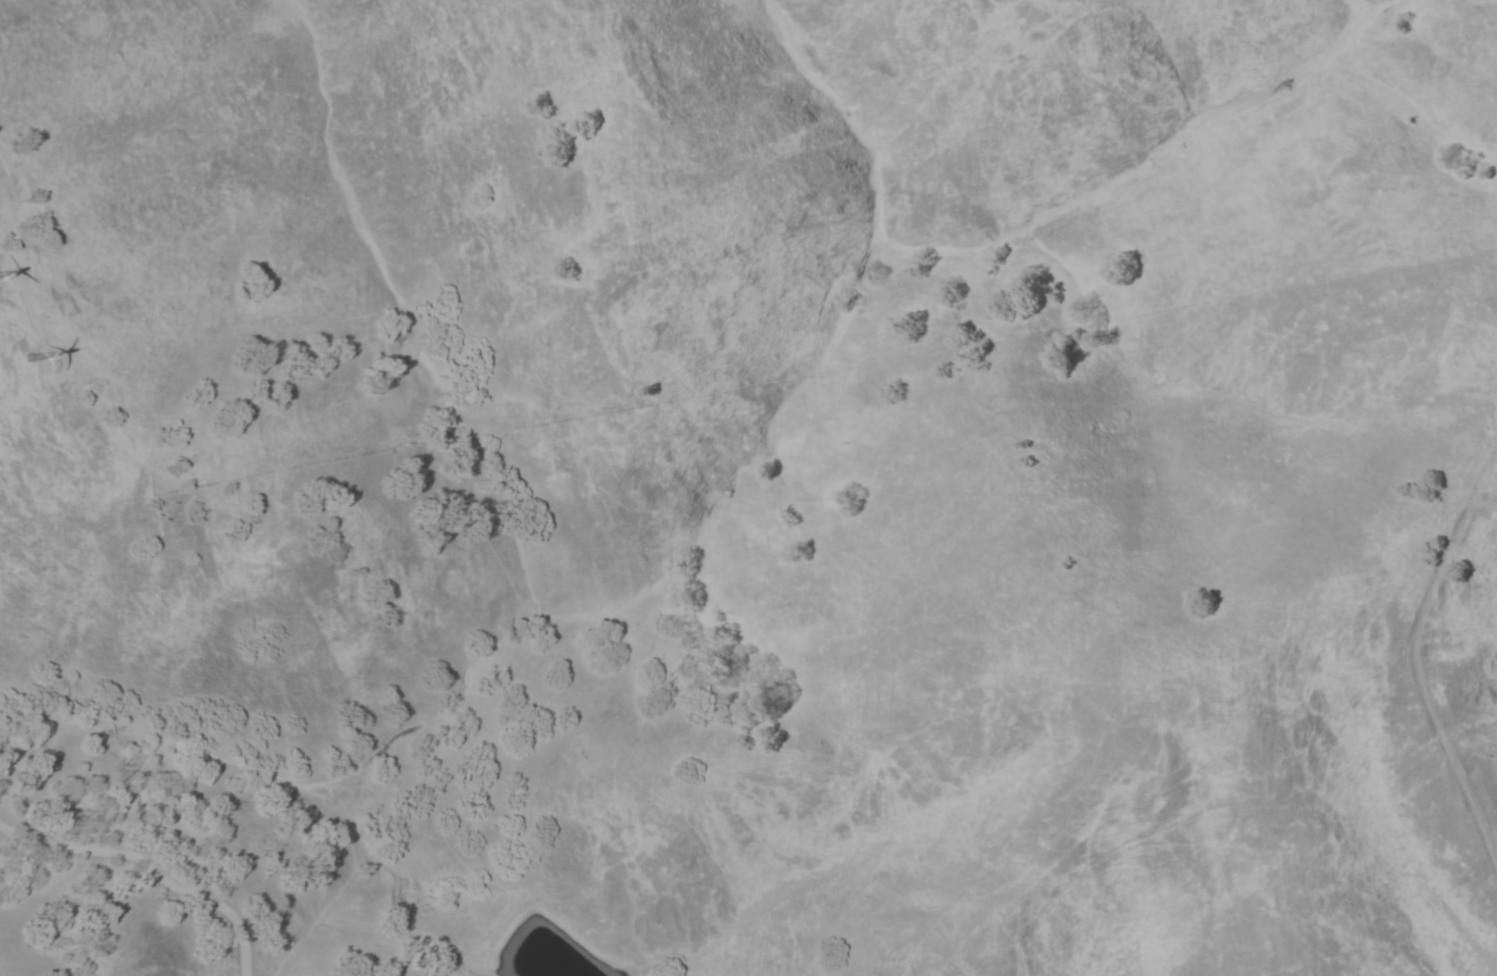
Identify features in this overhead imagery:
road: (16, 260)
road: (0, 272)
road: (1, 278)
road: (13, 305)
wind turbine: (31, 353)
road: (58, 375)
road: (149, 867)

